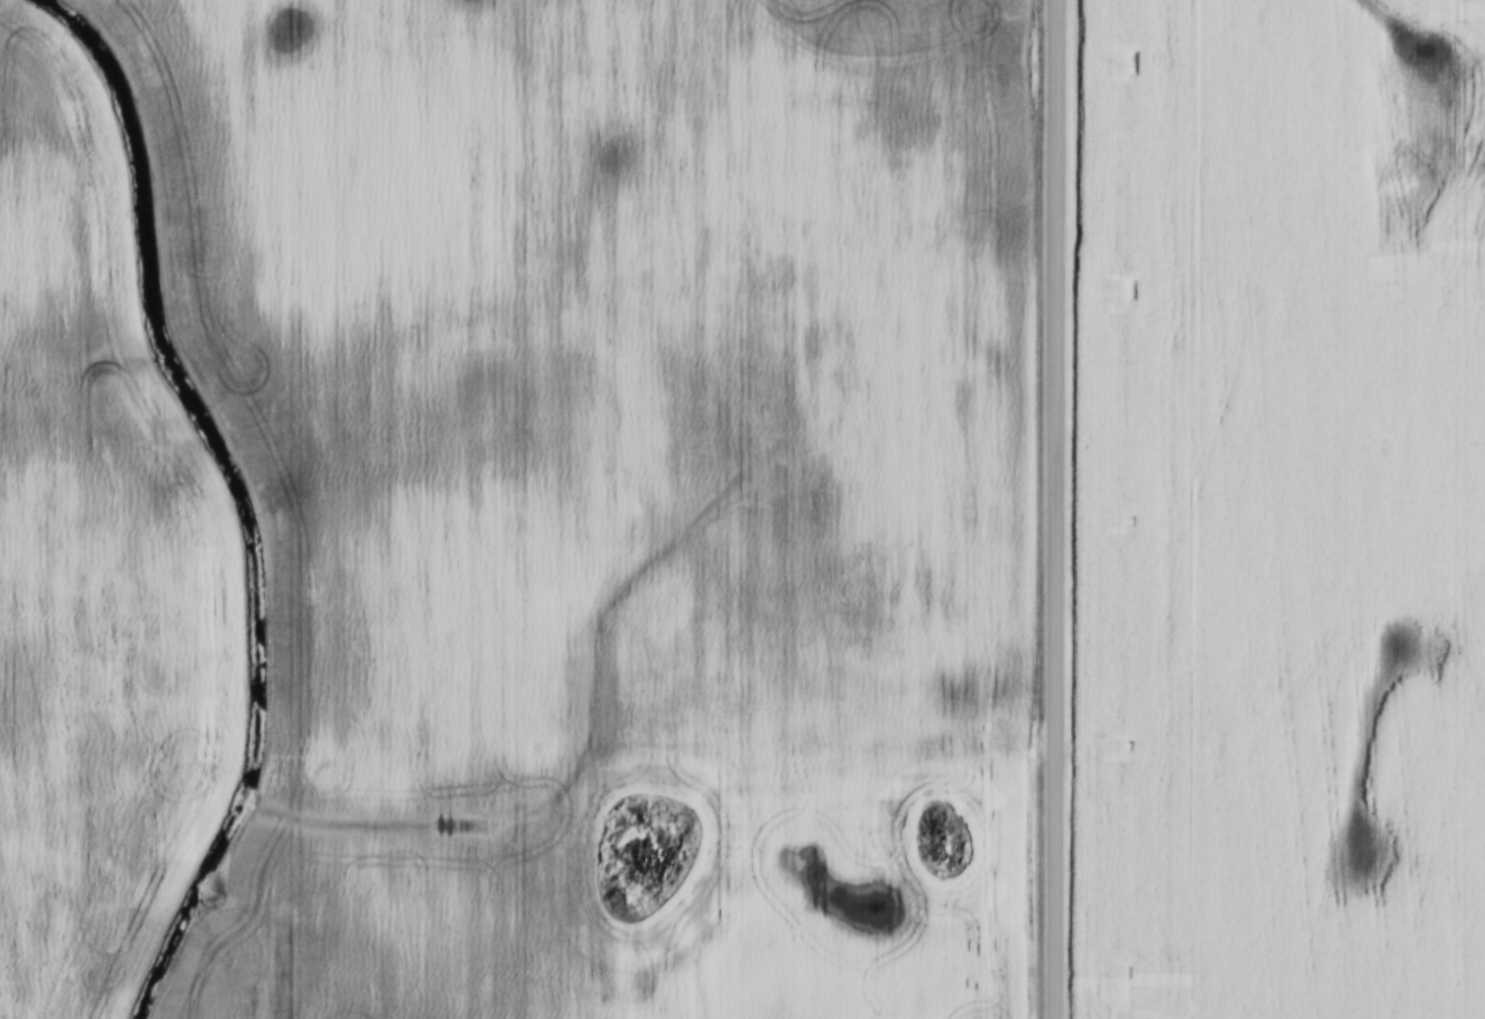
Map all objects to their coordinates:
road: (1054, 509)

